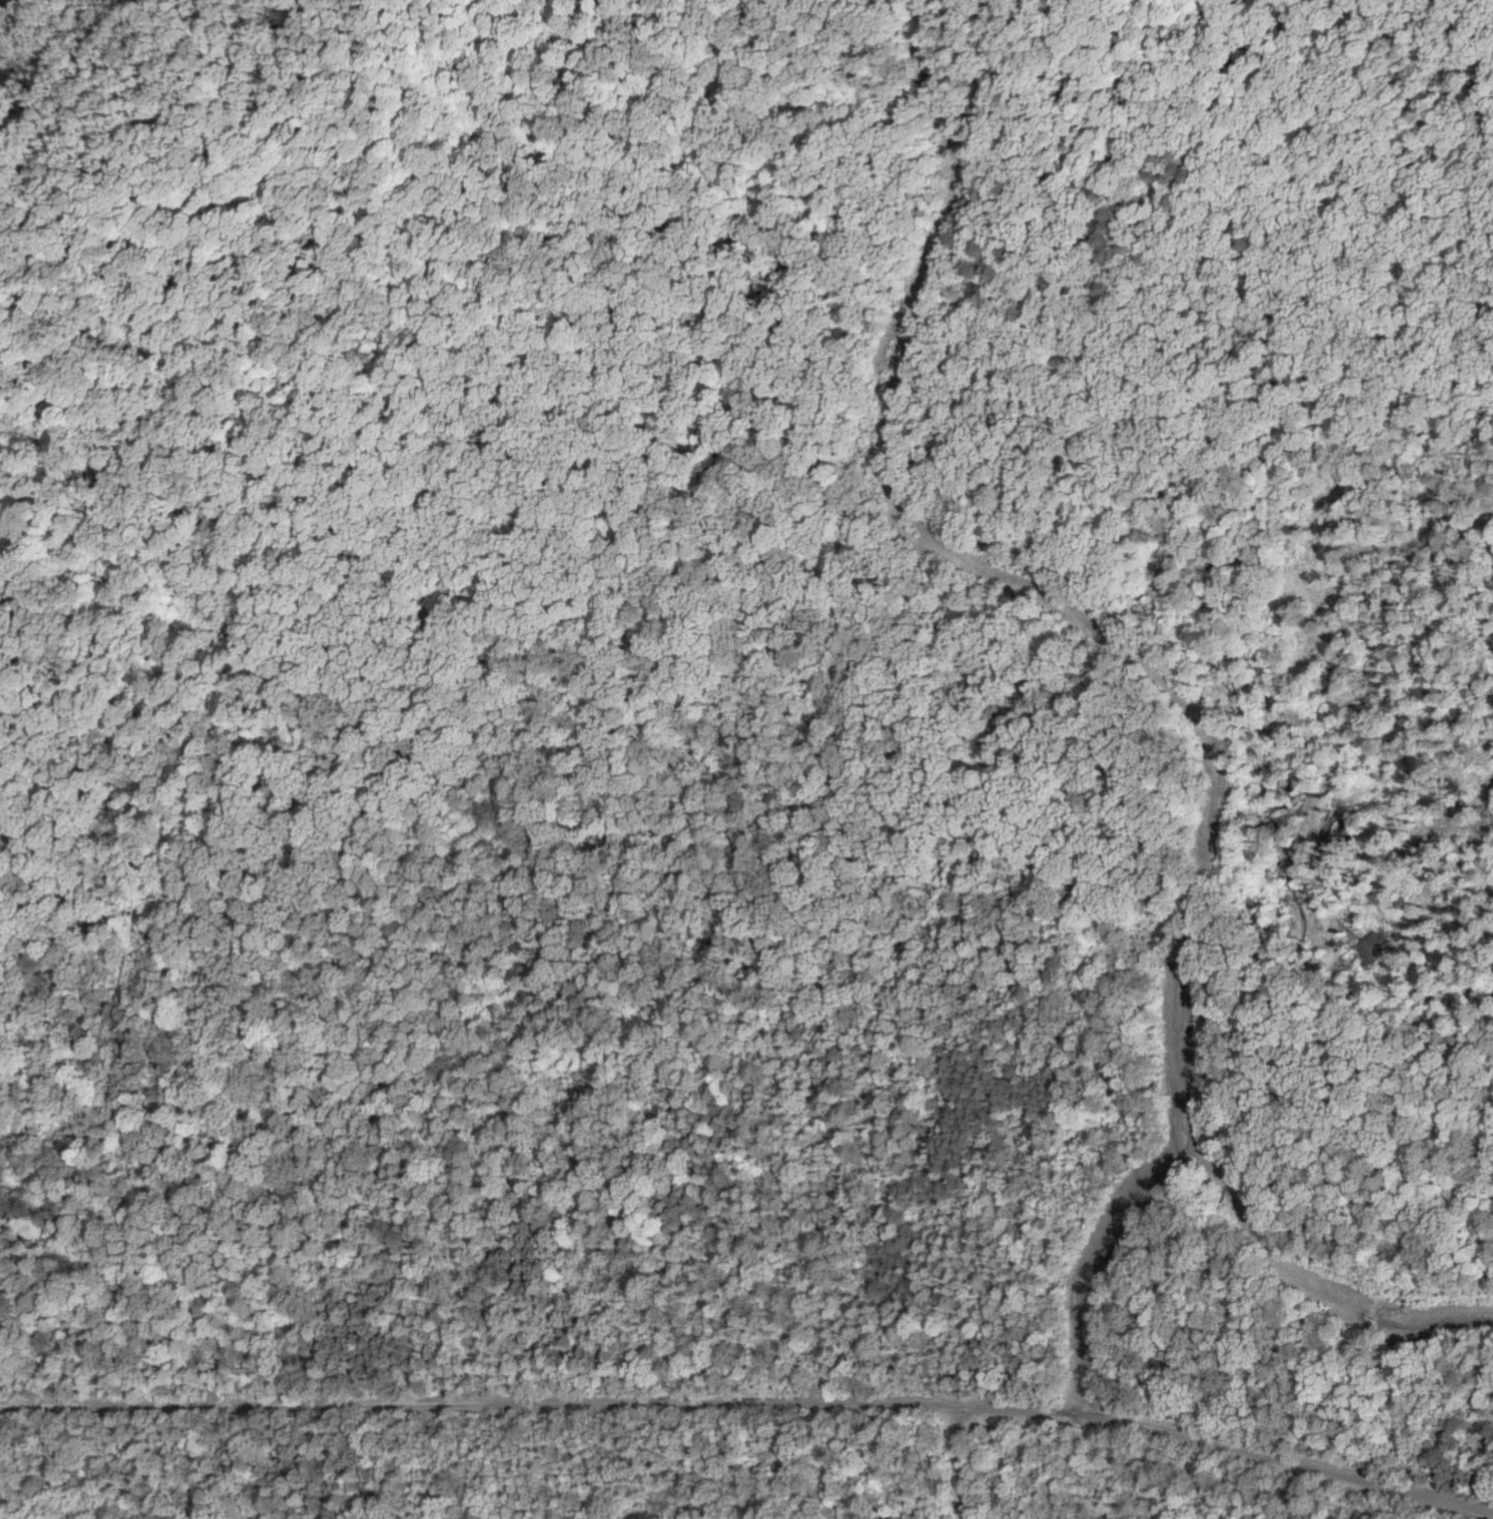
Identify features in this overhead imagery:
road: (752, 1403)

